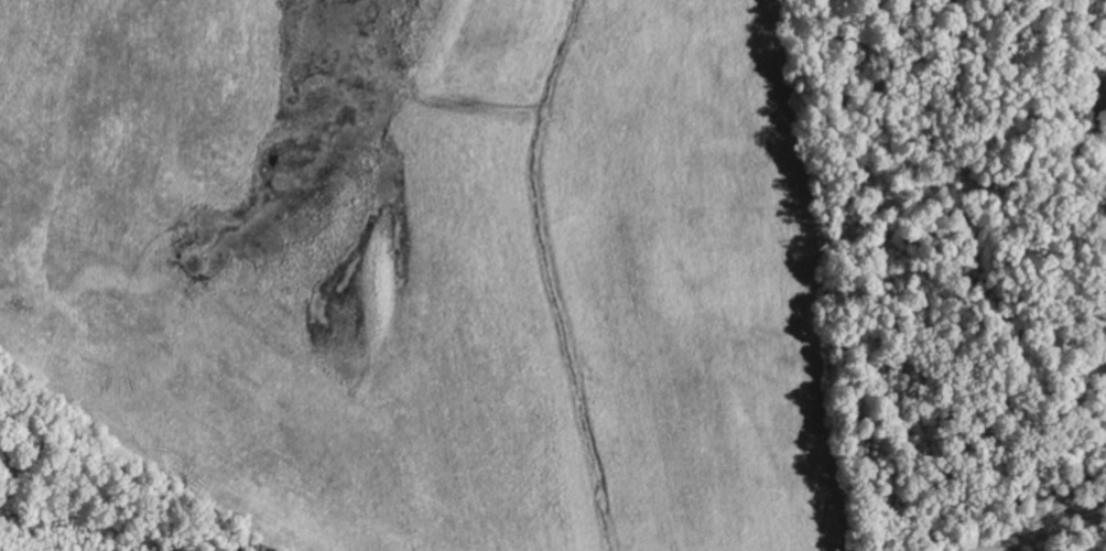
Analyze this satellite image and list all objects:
road: (1104, 106)

